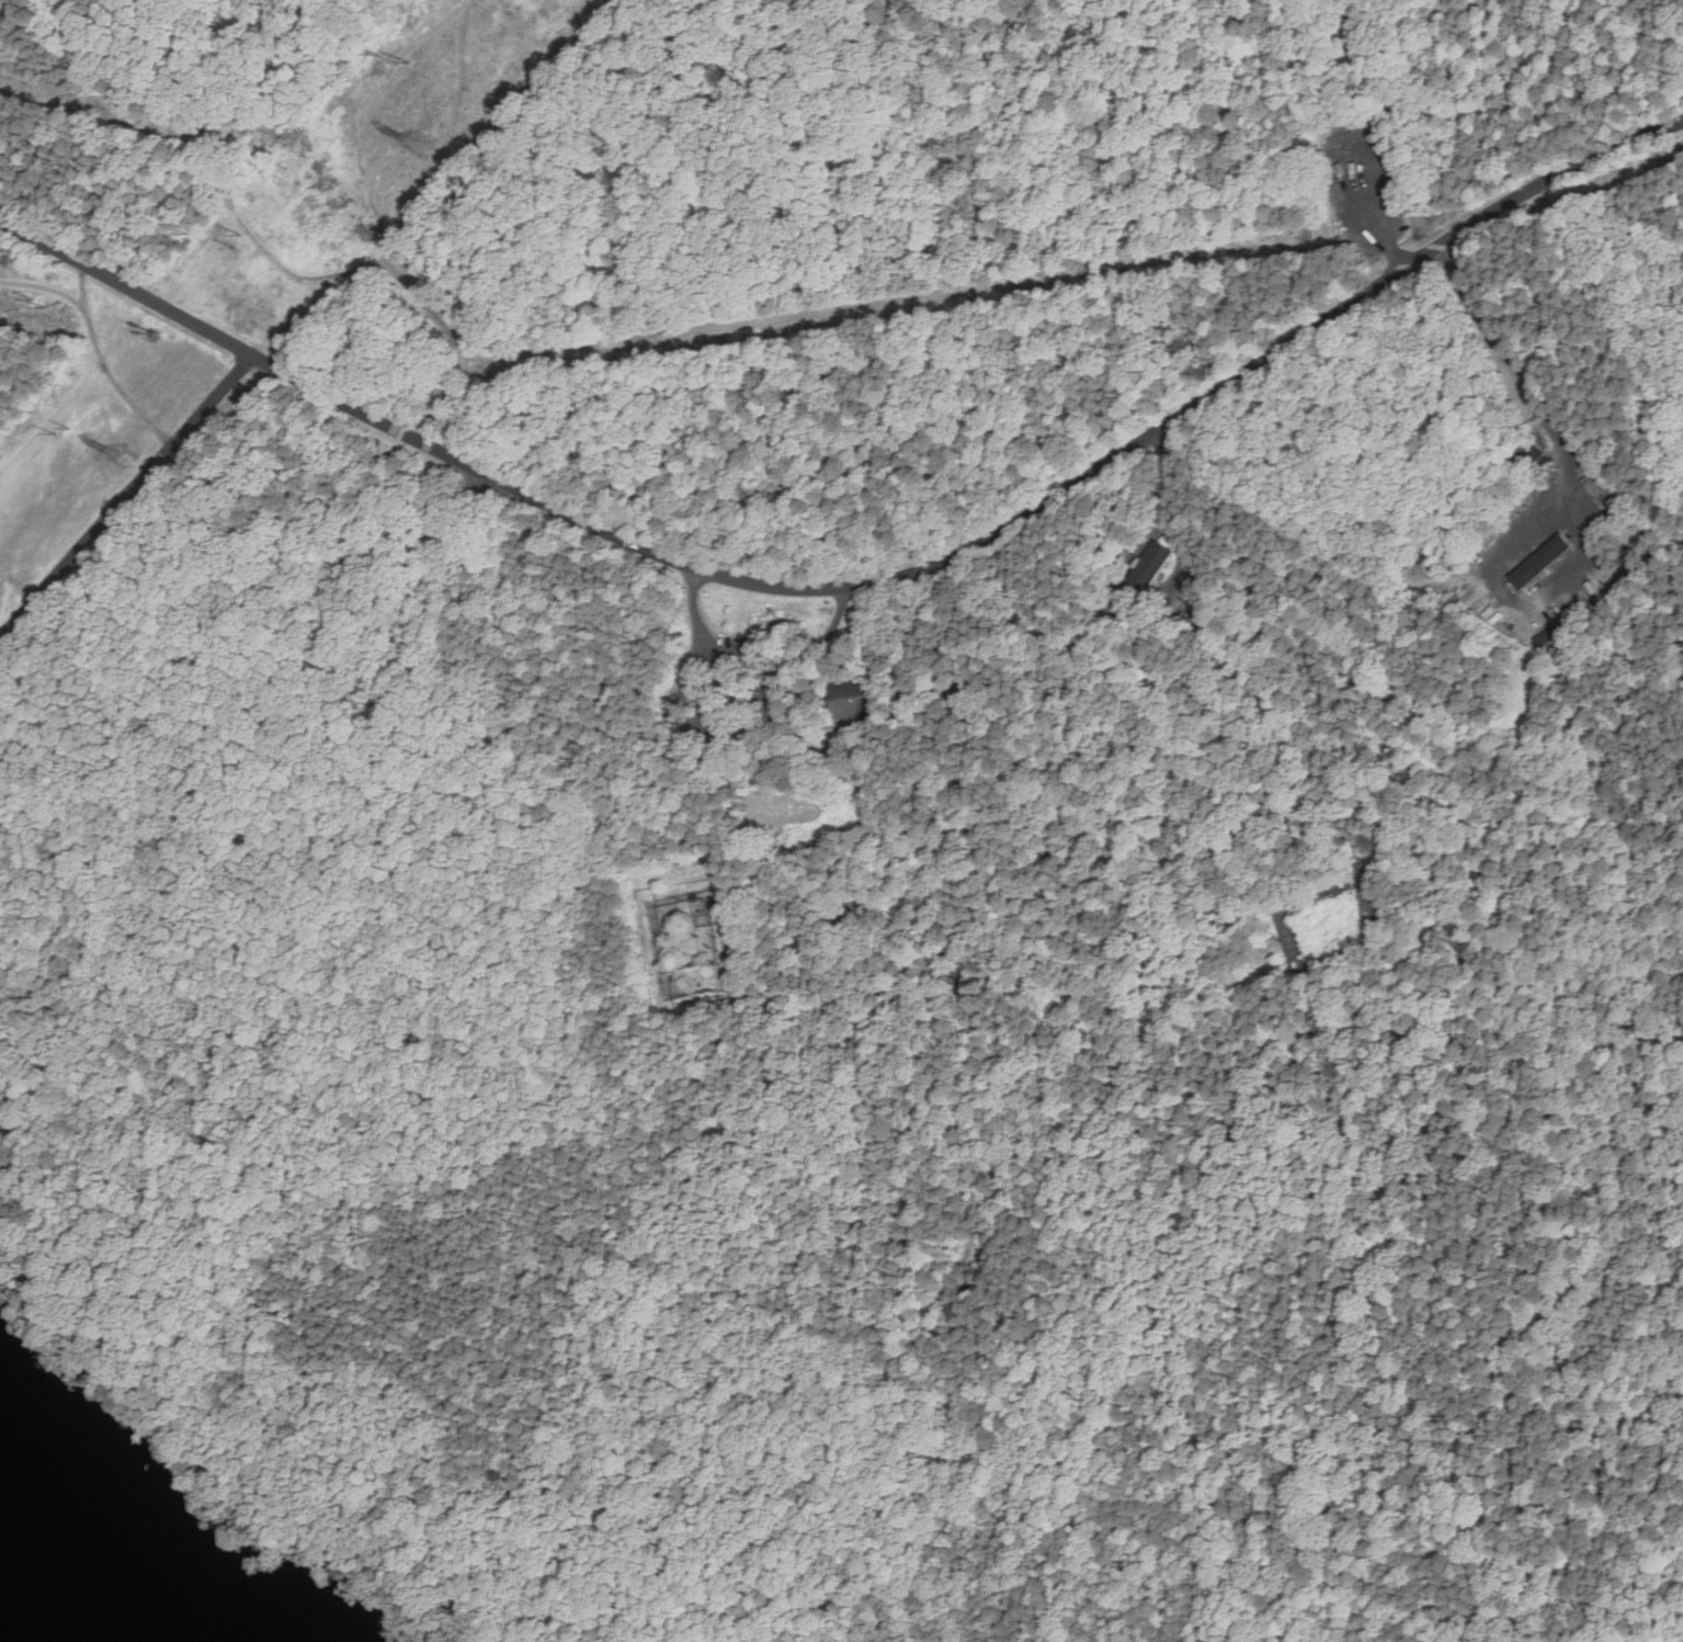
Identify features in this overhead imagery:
road: (368, 53)
road: (1374, 56)
road: (1441, 69)
road: (159, 106)
power tower: (423, 140)
road: (359, 161)
road: (1380, 194)
road: (1568, 211)
road: (558, 222)
road: (44, 285)
road: (315, 285)
road: (1156, 335)
road: (1512, 358)
road: (1645, 376)
road: (159, 432)
power tower: (132, 451)
building: (1601, 489)
road: (128, 498)
building: (1547, 559)
building: (1151, 565)
road: (863, 585)
road: (831, 629)
road: (725, 642)
building: (852, 699)
road: (712, 720)
road: (120, 813)
road: (27, 904)
road: (1681, 1188)
road: (1658, 1535)

